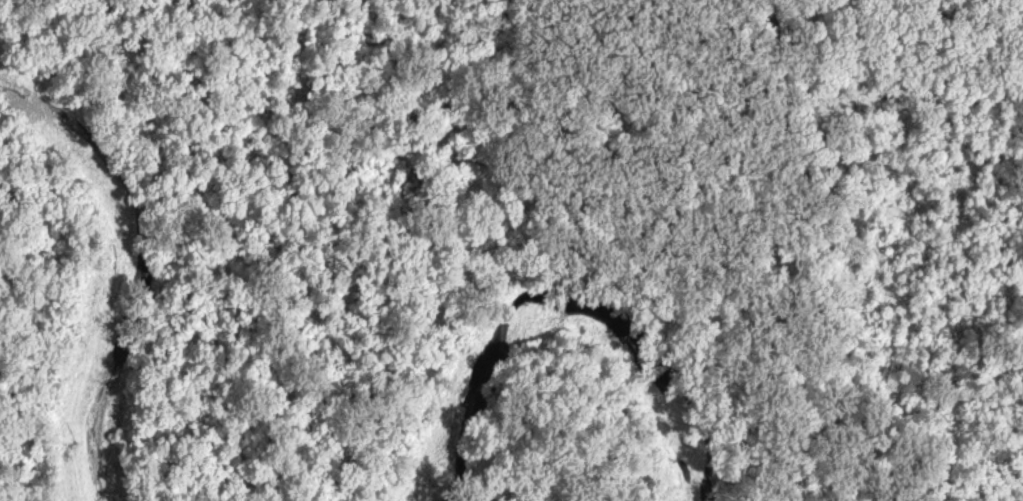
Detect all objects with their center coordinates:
river: (126, 263)
river: (553, 314)

